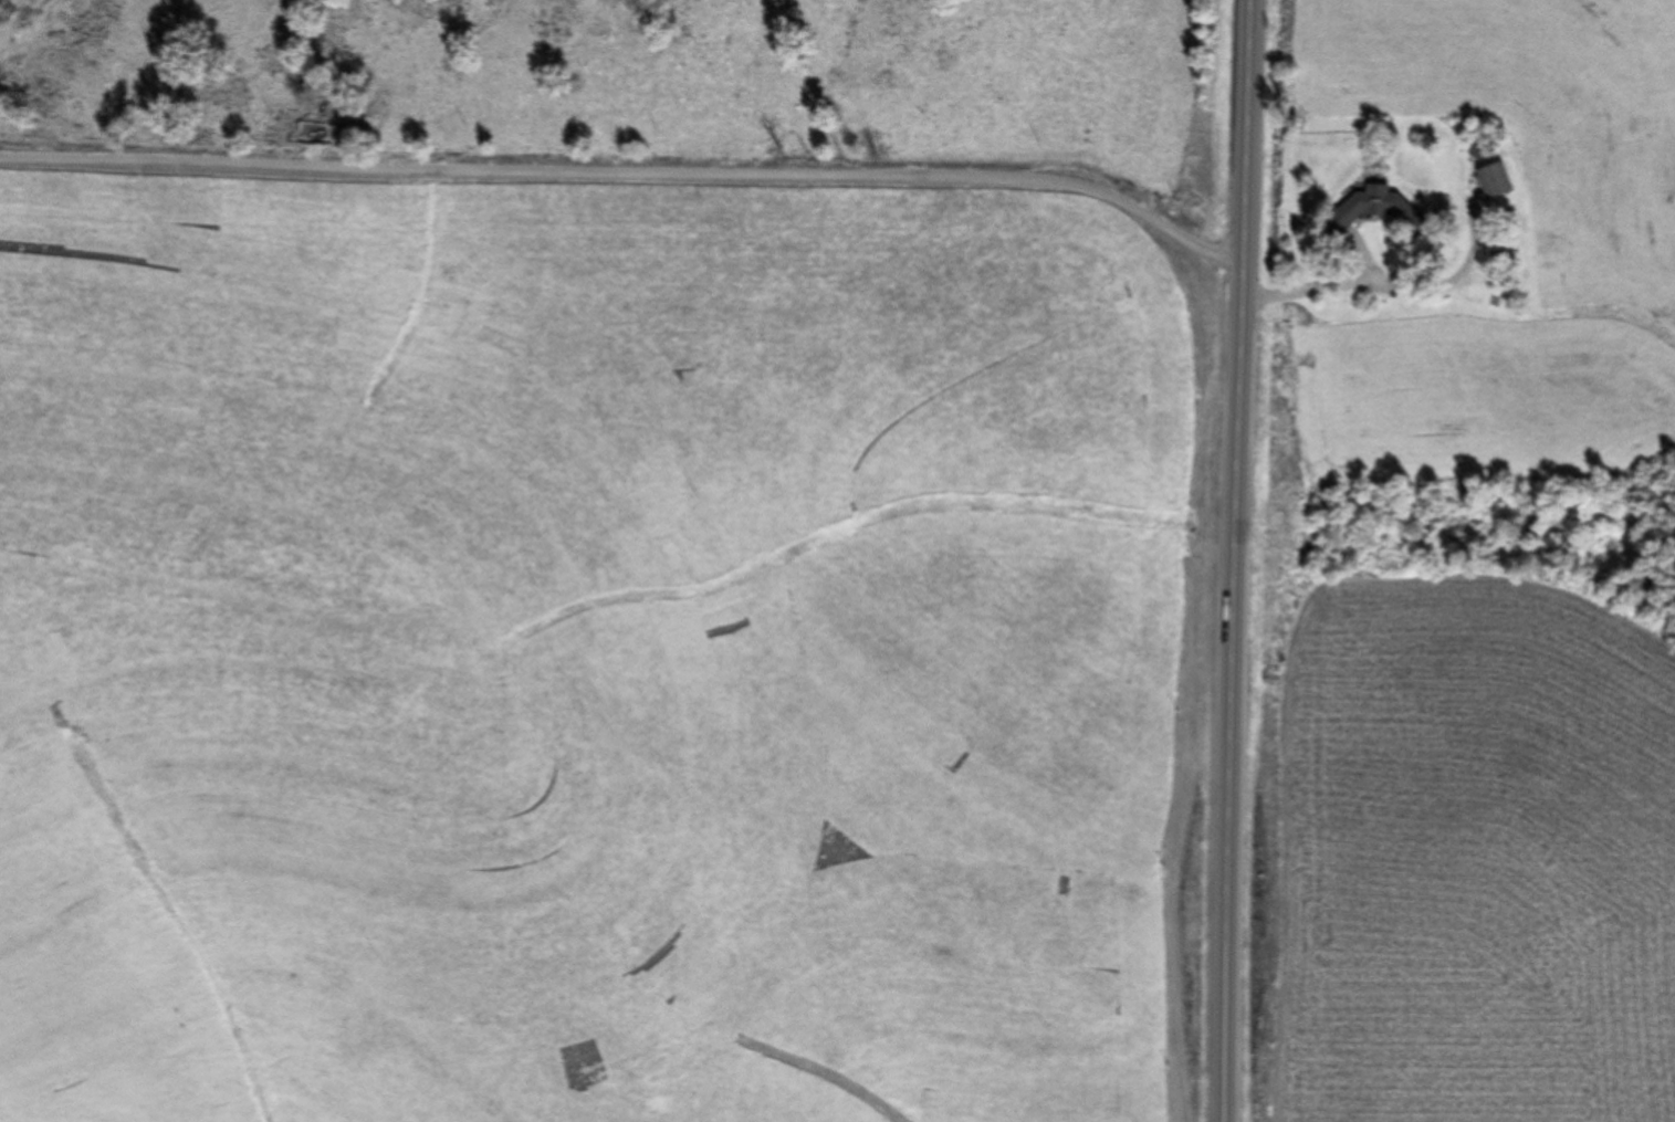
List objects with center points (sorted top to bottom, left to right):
road: (674, 162)
building: (1494, 179)
building: (1374, 209)
road: (1233, 560)

